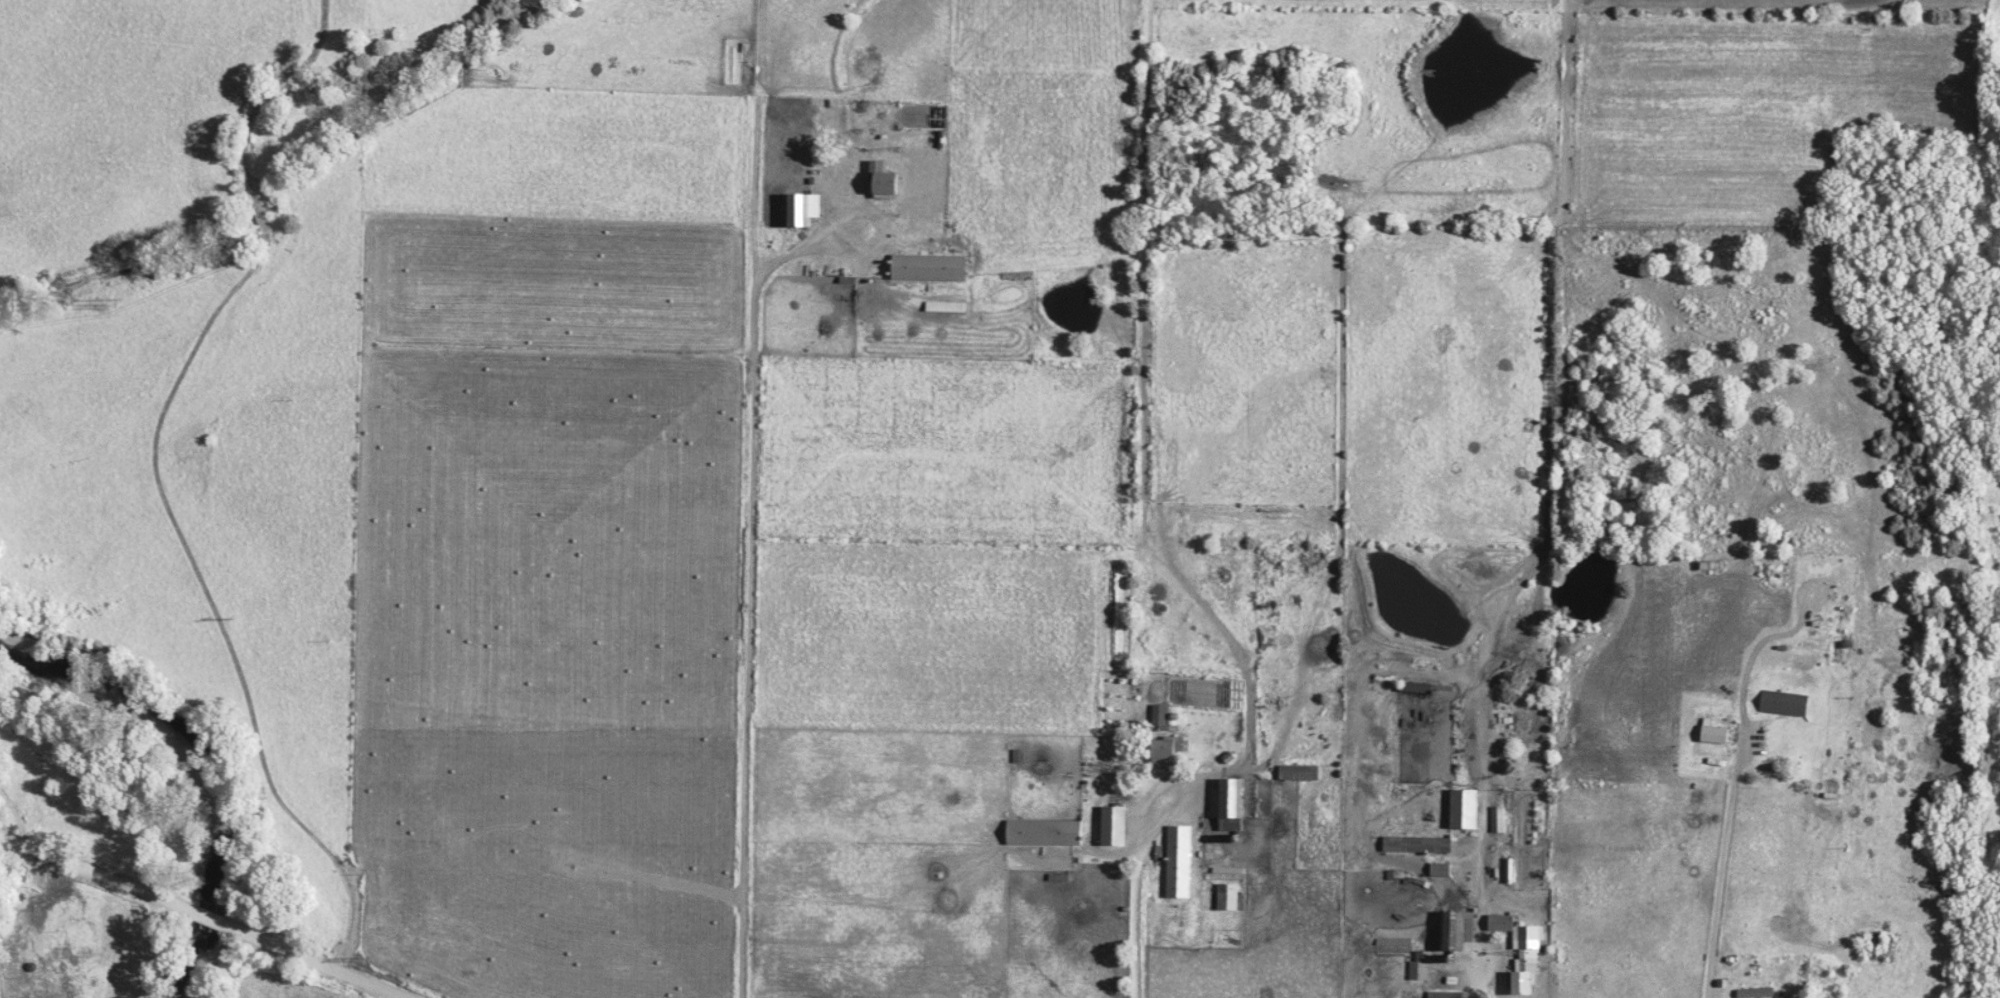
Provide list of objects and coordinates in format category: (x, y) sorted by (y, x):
building: (889, 181)
building: (808, 209)
road: (893, 227)
building: (934, 268)
road: (150, 480)
road: (753, 614)
building: (1788, 704)
building: (1164, 718)
road: (1840, 728)
building: (1718, 735)
building: (1172, 752)
building: (1302, 773)
building: (1232, 805)
building: (1471, 810)
road: (1140, 813)
building: (1119, 827)
building: (1049, 833)
road: (1475, 842)
building: (1181, 846)
building: (1421, 846)
road: (1714, 859)
building: (1497, 867)
building: (1445, 871)
building: (1230, 874)
building: (1183, 884)
building: (1232, 898)
road: (196, 917)
building: (1520, 929)
building: (1459, 931)
road: (152, 951)
building: (1422, 968)
building: (1531, 977)
building: (1761, 993)
building: (1449, 995)

